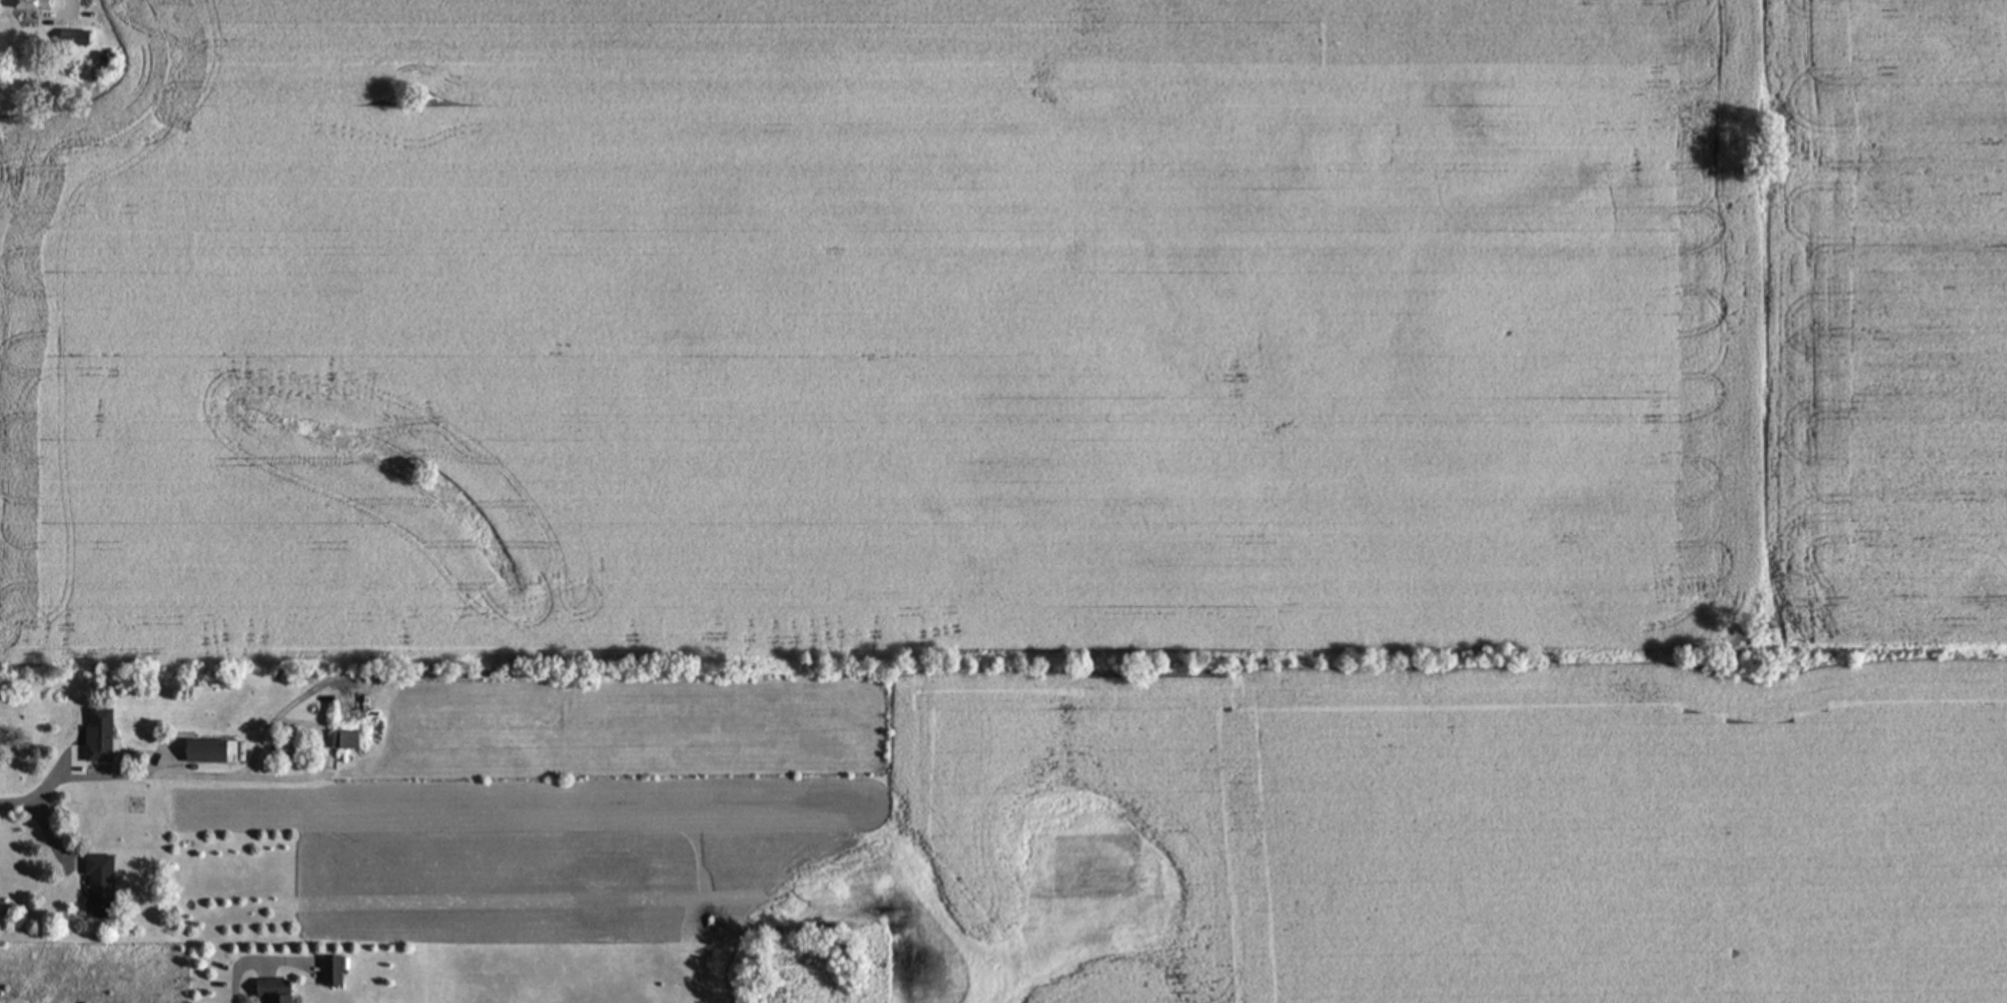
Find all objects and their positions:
building: (37, 4)
road: (326, 728)
building: (104, 734)
building: (348, 740)
building: (214, 750)
road: (116, 775)
building: (104, 885)
building: (336, 970)
road: (234, 975)
building: (280, 990)

